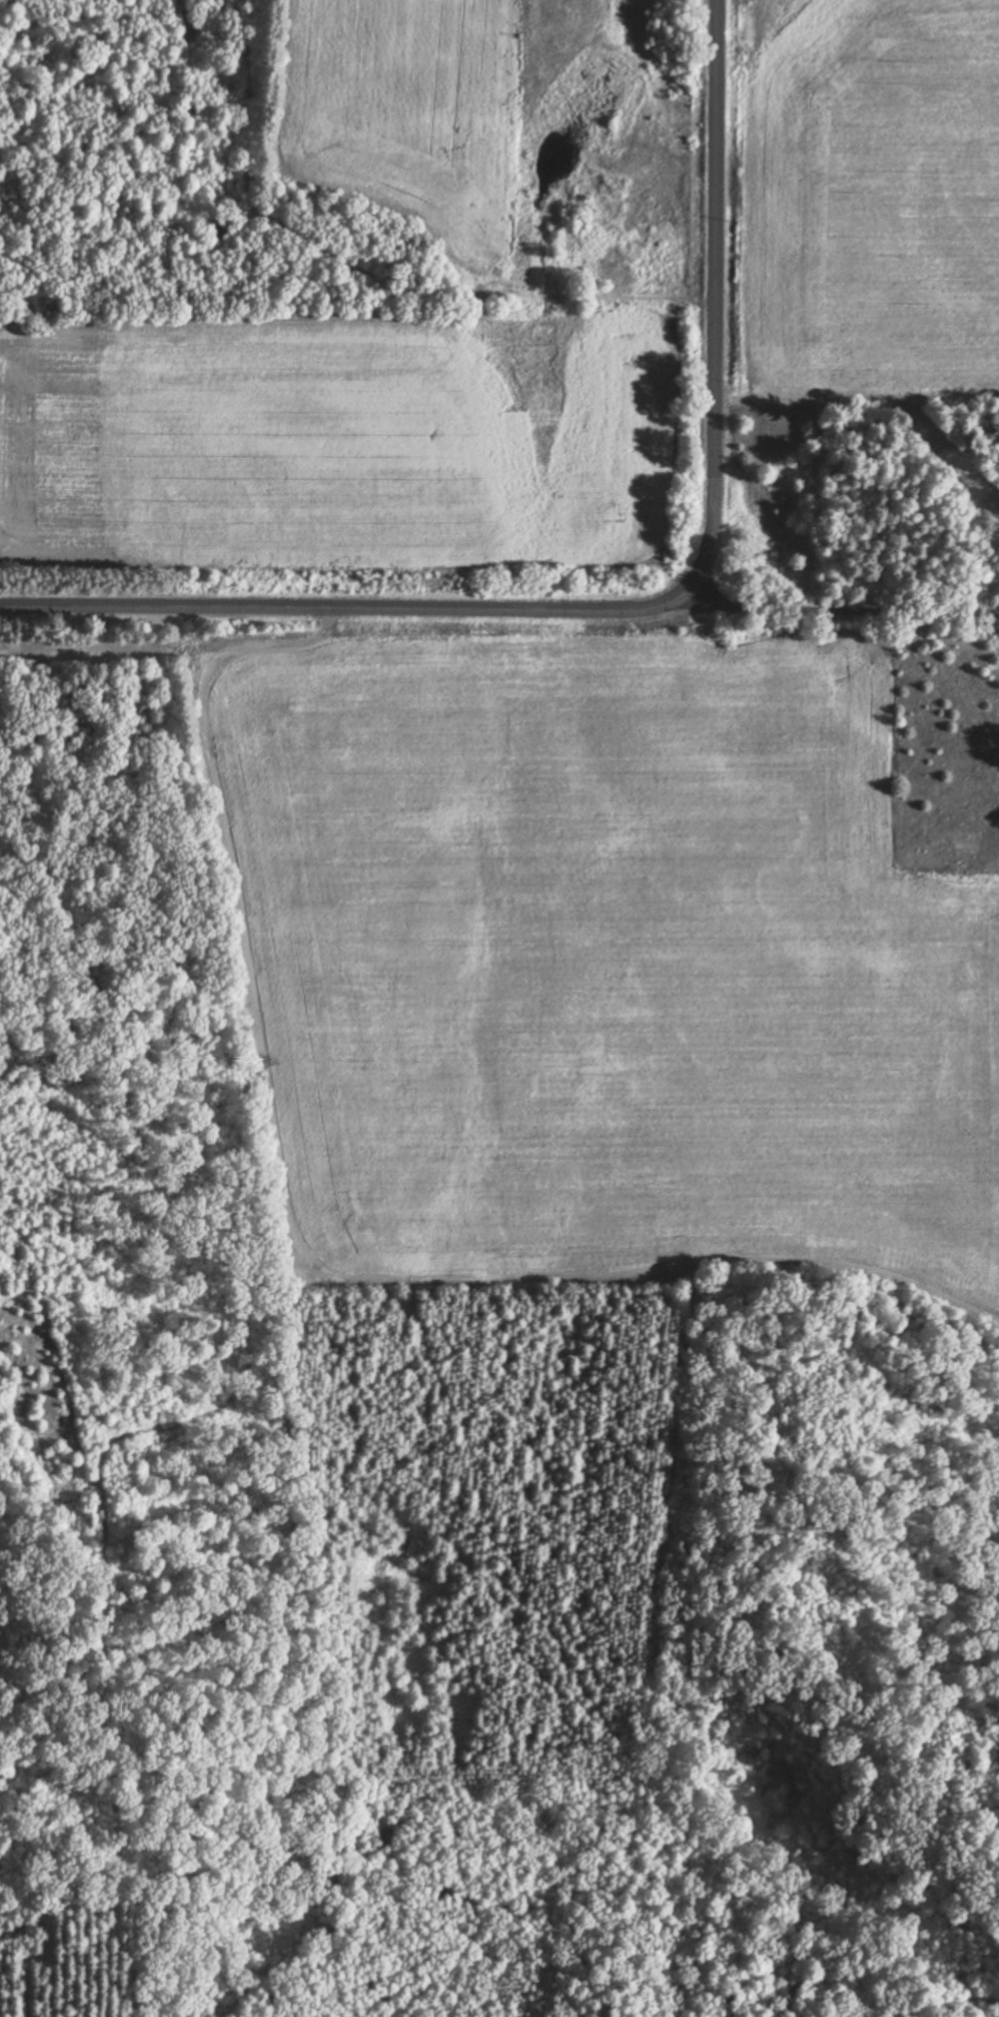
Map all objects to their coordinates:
road: (841, 604)
road: (641, 606)

